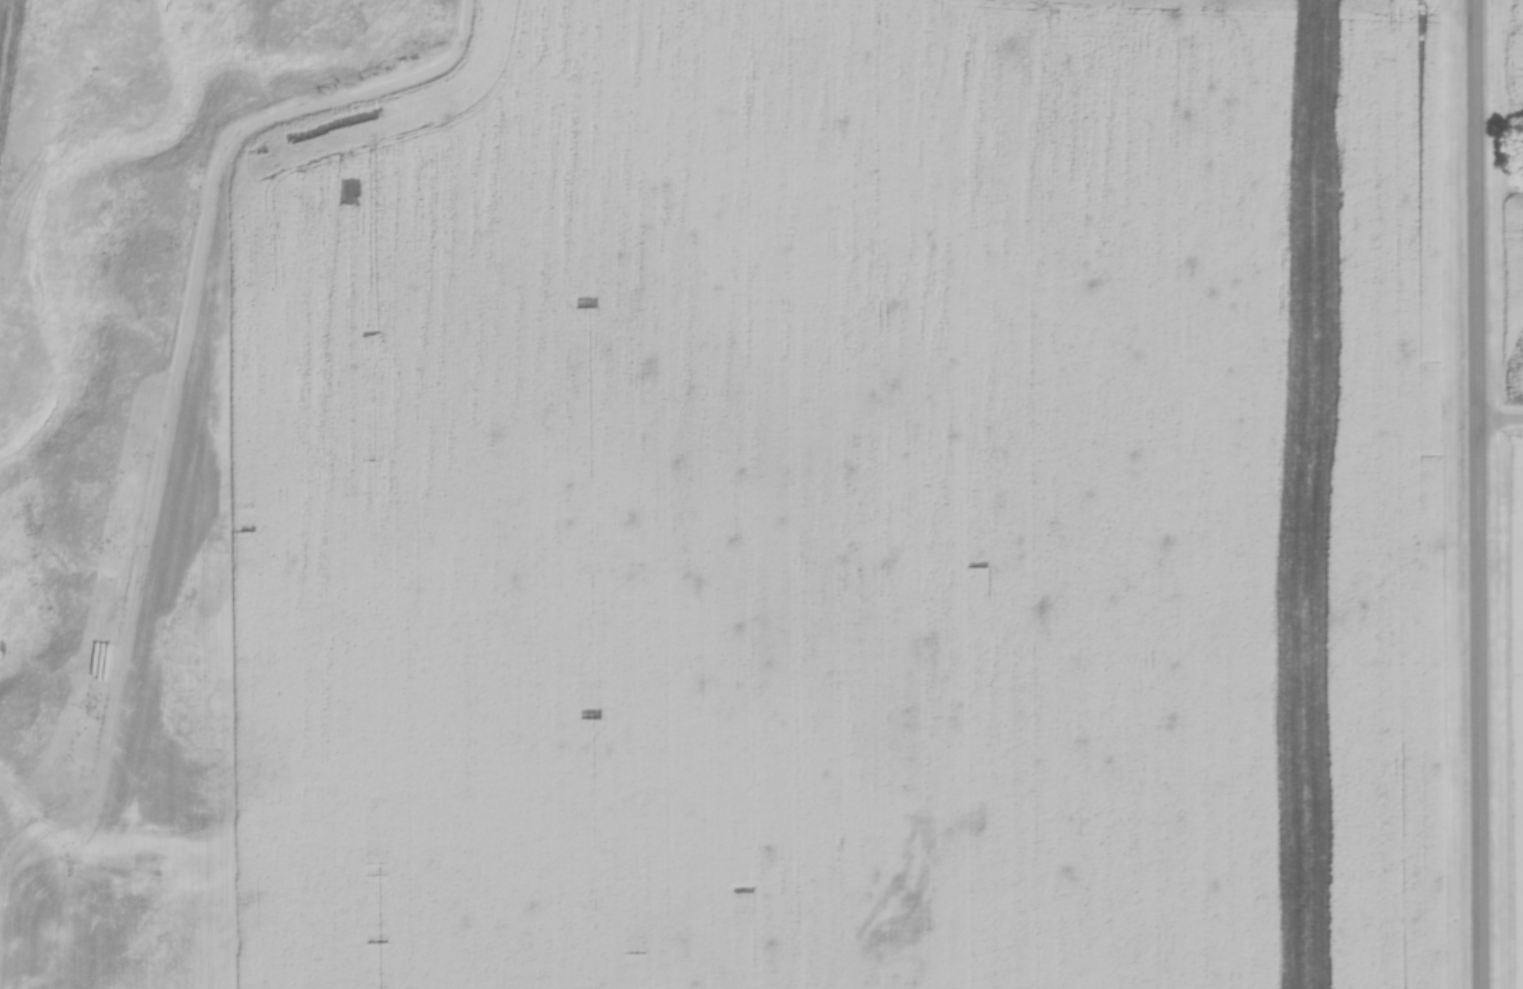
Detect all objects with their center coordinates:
road: (1484, 494)

